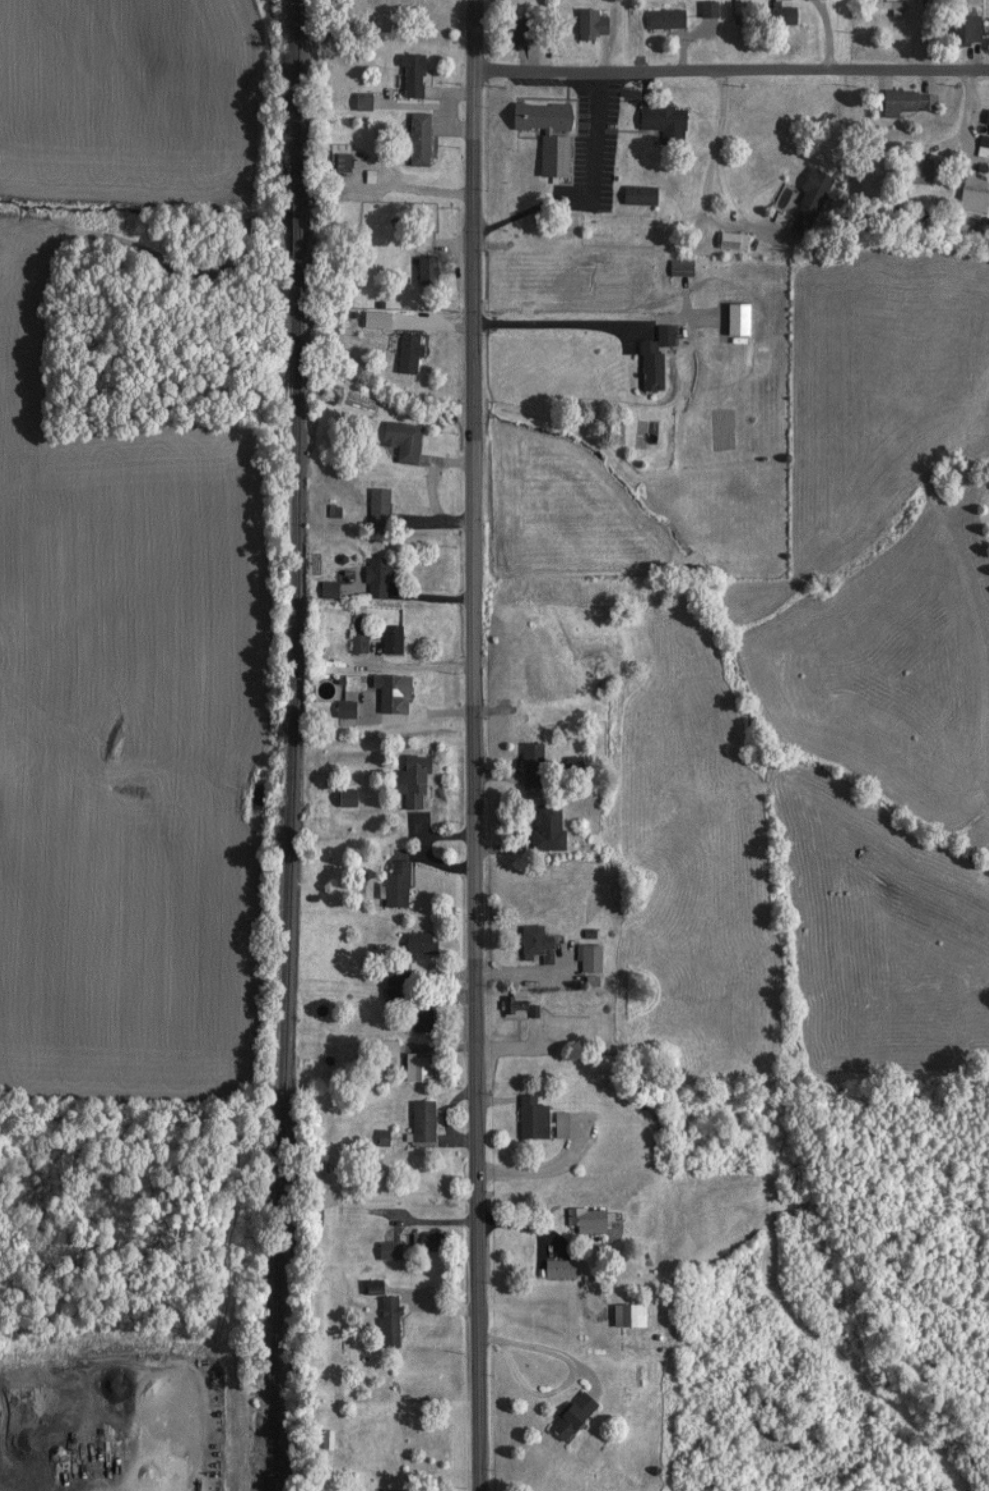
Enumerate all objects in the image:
building: (879, 6)
building: (702, 10)
building: (773, 15)
building: (658, 19)
building: (584, 24)
building: (958, 29)
building: (509, 32)
road: (731, 71)
building: (405, 76)
railway: (290, 95)
building: (356, 102)
building: (903, 102)
road: (724, 113)
building: (532, 117)
building: (983, 123)
building: (656, 124)
road: (971, 125)
road: (588, 138)
building: (411, 140)
building: (977, 147)
building: (546, 157)
building: (333, 158)
building: (911, 173)
building: (632, 196)
building: (964, 201)
building: (802, 205)
road: (729, 218)
railway: (291, 222)
building: (674, 269)
building: (418, 274)
road: (588, 297)
building: (402, 354)
building: (648, 360)
building: (396, 441)
building: (372, 506)
building: (370, 579)
building: (319, 590)
building: (385, 640)
building: (352, 645)
building: (382, 693)
building: (338, 710)
road: (476, 745)
building: (525, 766)
building: (405, 781)
building: (339, 798)
building: (540, 827)
railway: (285, 873)
building: (389, 883)
building: (413, 943)
building: (529, 944)
building: (581, 958)
building: (389, 977)
building: (507, 1005)
building: (413, 1015)
building: (383, 1049)
building: (409, 1067)
building: (524, 1118)
building: (415, 1121)
building: (554, 1125)
road: (552, 1164)
building: (579, 1220)
building: (416, 1241)
building: (551, 1268)
building: (620, 1315)
building: (382, 1322)
building: (563, 1417)
building: (320, 1439)
building: (386, 1490)

